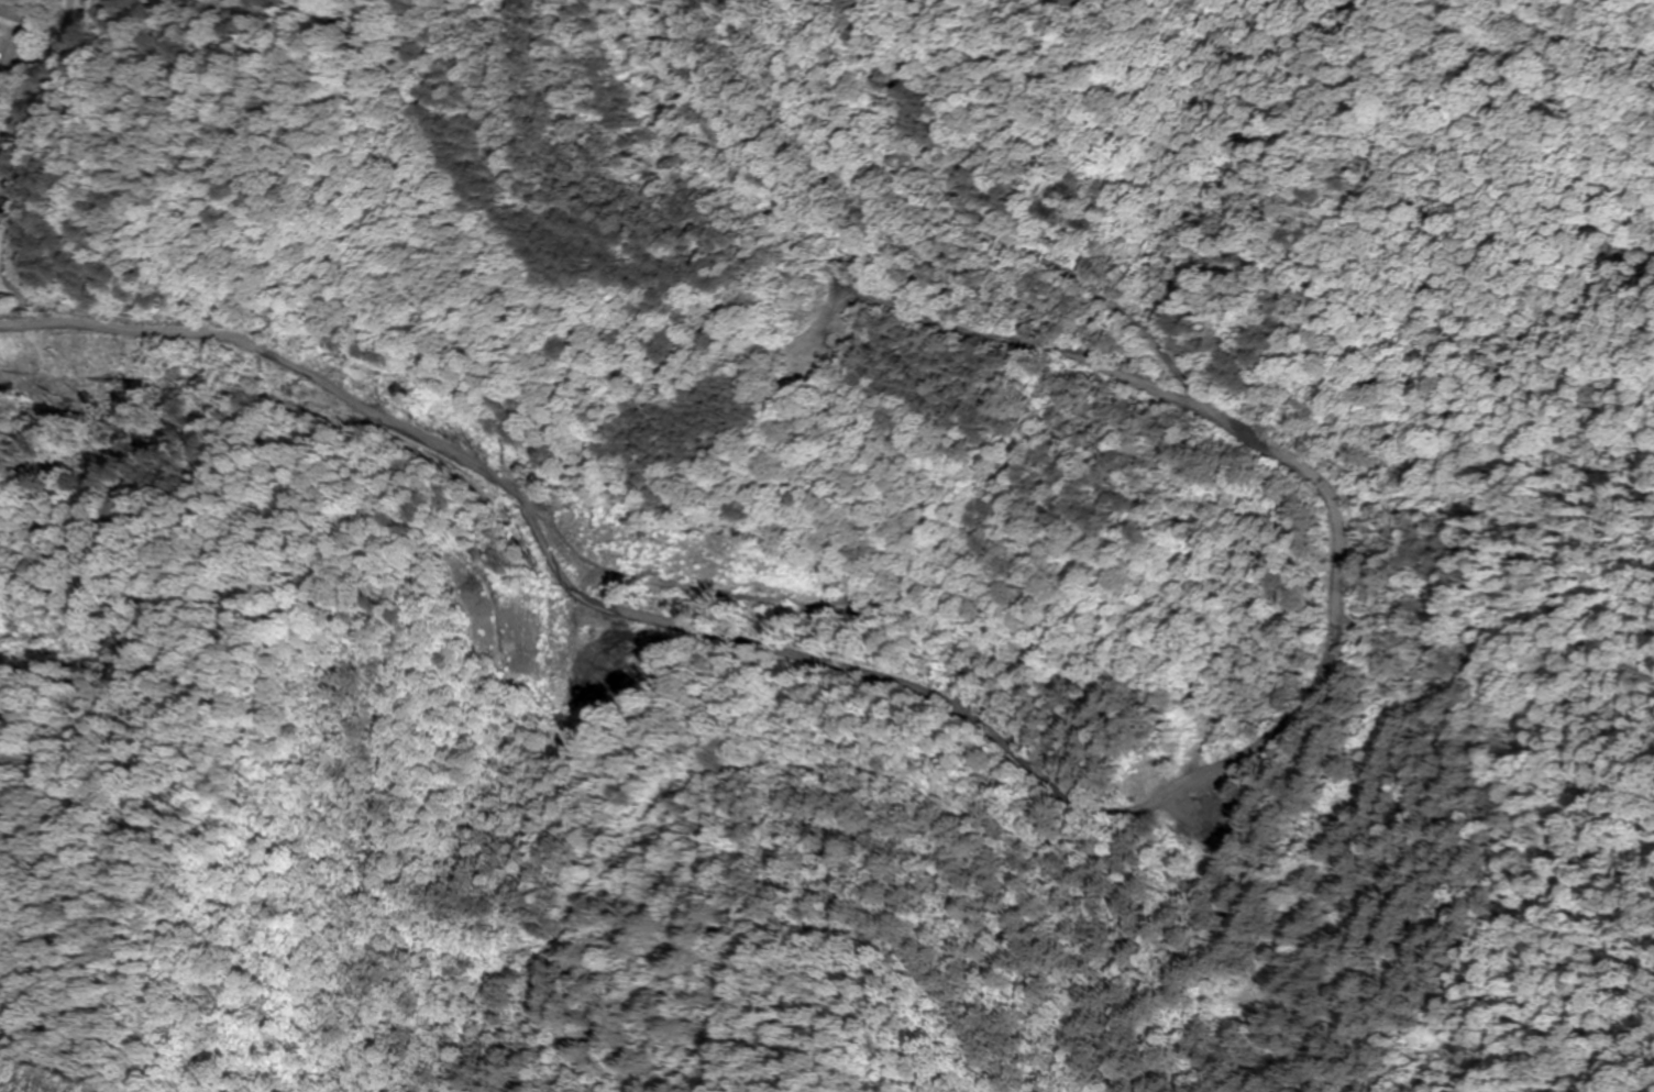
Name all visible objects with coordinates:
road: (1591, 47)
road: (71, 365)
road: (401, 446)
road: (1344, 797)

